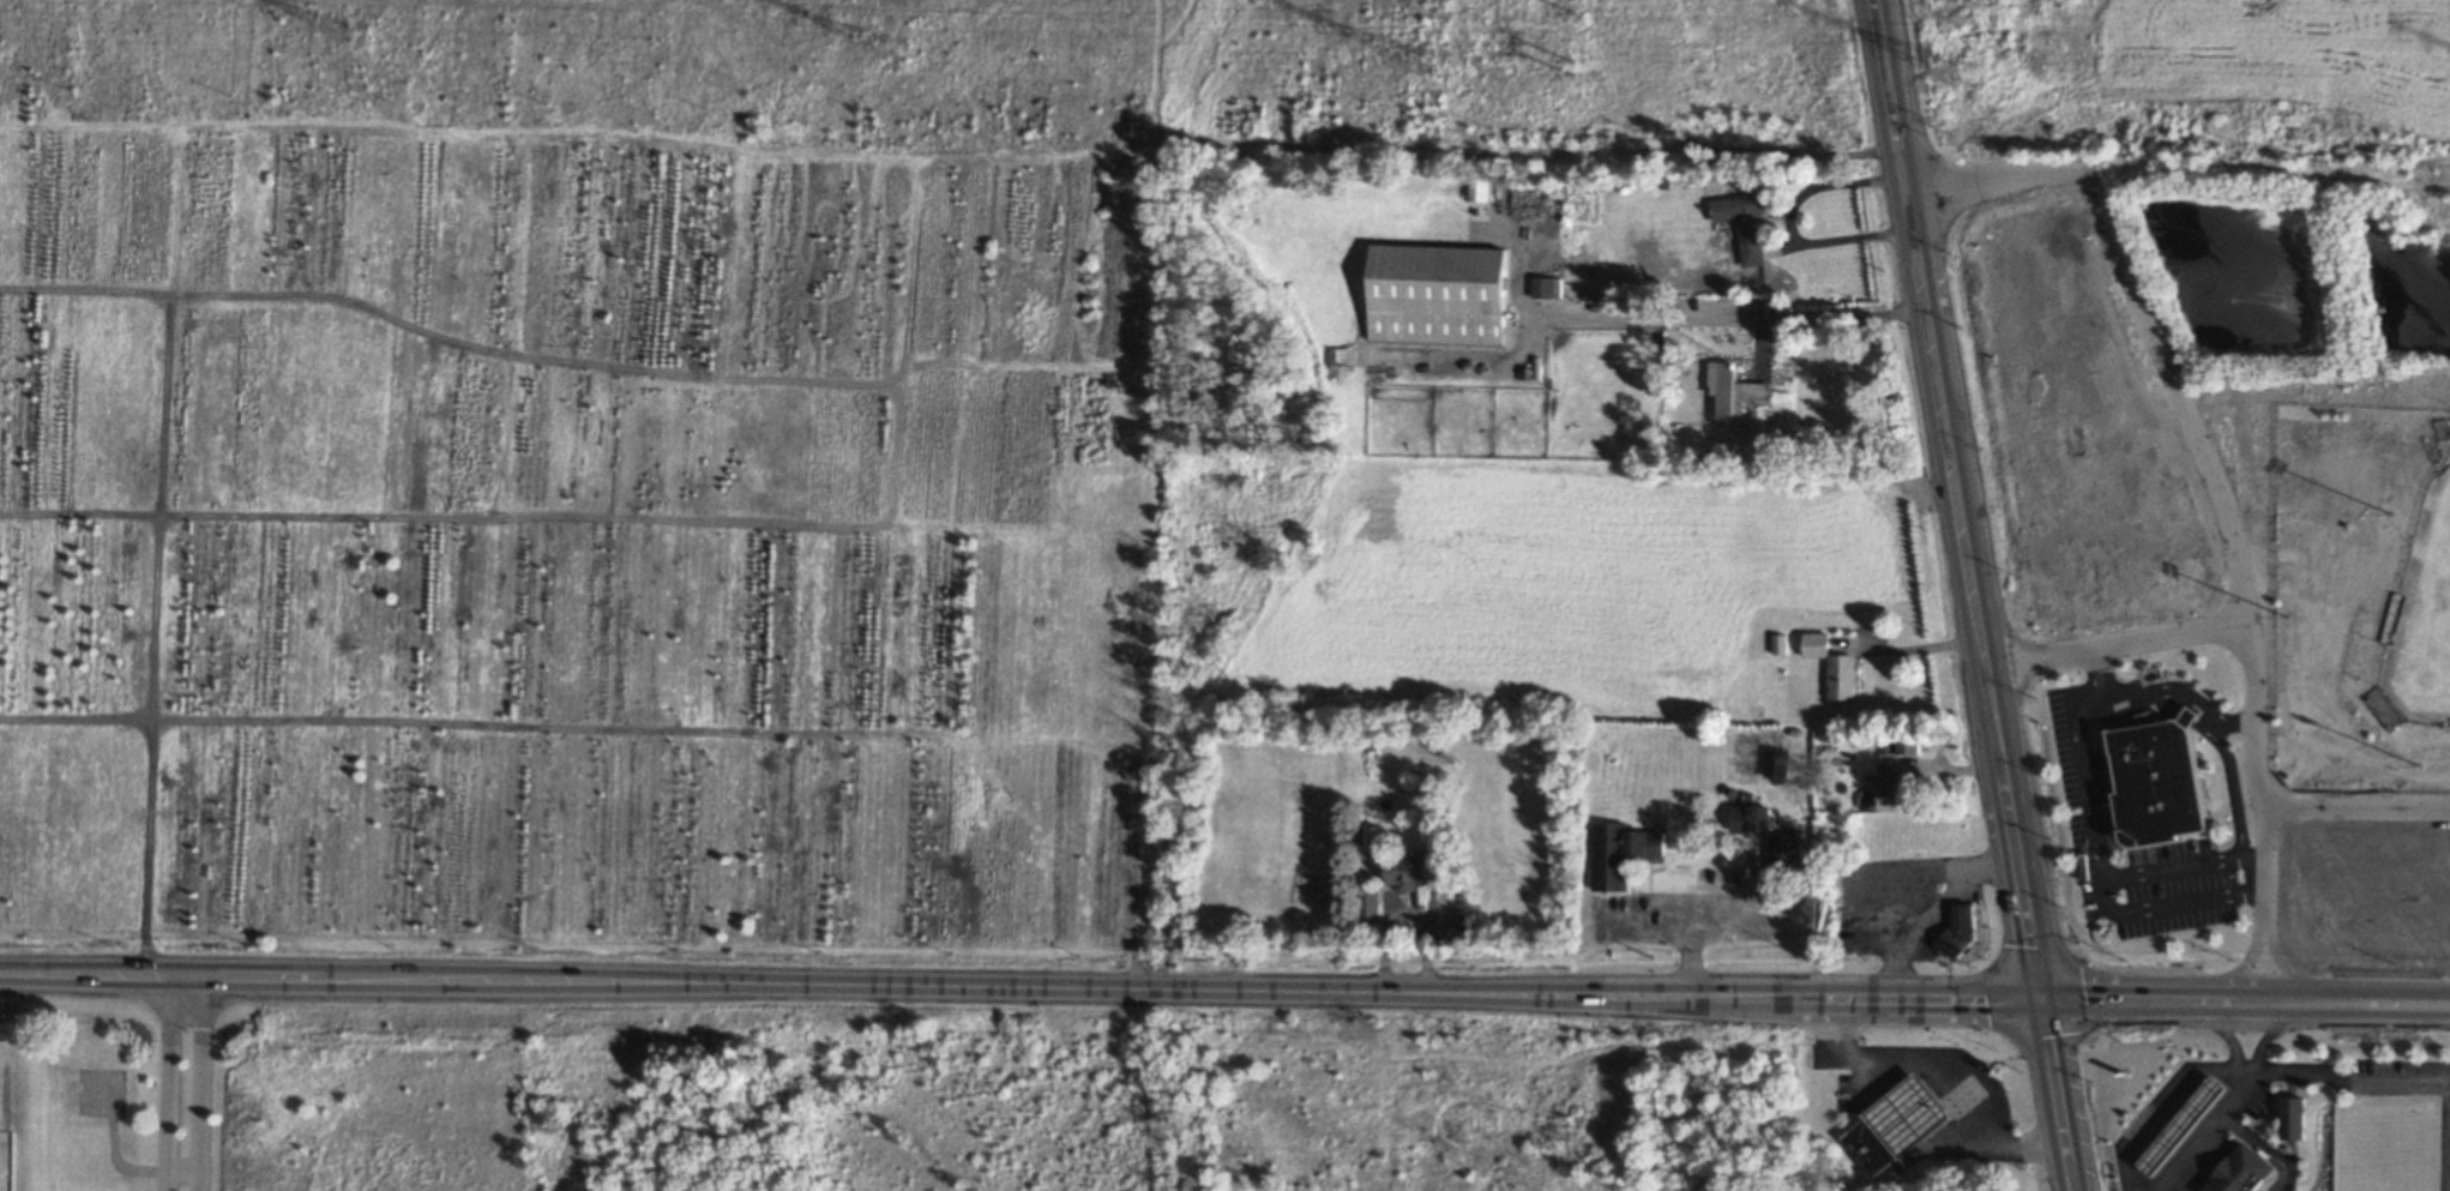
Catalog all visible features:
power tower: (1964, 6)
power tower: (1563, 8)
power tower: (354, 35)
power tower: (891, 47)
power tower: (1431, 56)
power tower: (1966, 67)
power tower: (1563, 68)
road: (1898, 154)
road: (1788, 218)
building: (1745, 222)
building: (1546, 285)
building: (1438, 294)
road: (2142, 308)
road: (1724, 318)
building: (1734, 390)
crop: (568, 465)
crop: (1572, 582)
park: (2424, 616)
road: (1998, 626)
building: (1780, 643)
road: (1916, 643)
road: (1982, 654)
building: (1834, 666)
road: (2256, 670)
road: (2011, 702)
building: (2186, 717)
road: (2233, 722)
road: (2217, 738)
building: (1908, 745)
building: (1776, 762)
building: (2154, 783)
building: (1886, 787)
road: (2356, 807)
building: (1751, 818)
road: (2099, 826)
building: (1619, 852)
building: (1783, 853)
building: (1405, 870)
building: (1371, 902)
road: (1931, 909)
road: (1687, 924)
building: (1958, 931)
road: (2237, 966)
road: (2287, 968)
road: (845, 985)
traffic signals: (2041, 1003)
road: (2070, 1003)
road: (2226, 1036)
road: (2267, 1036)
road: (1938, 1071)
road: (170, 1081)
road: (2347, 1081)
road: (200, 1082)
road: (2055, 1096)
gas station: (2208, 1105)
road: (2166, 1107)
building: (1906, 1114)
gas station: (1906, 1114)
building: (2291, 1117)
building: (2181, 1124)
road: (2208, 1133)
building: (1868, 1147)
road: (2265, 1149)
building: (2237, 1171)

